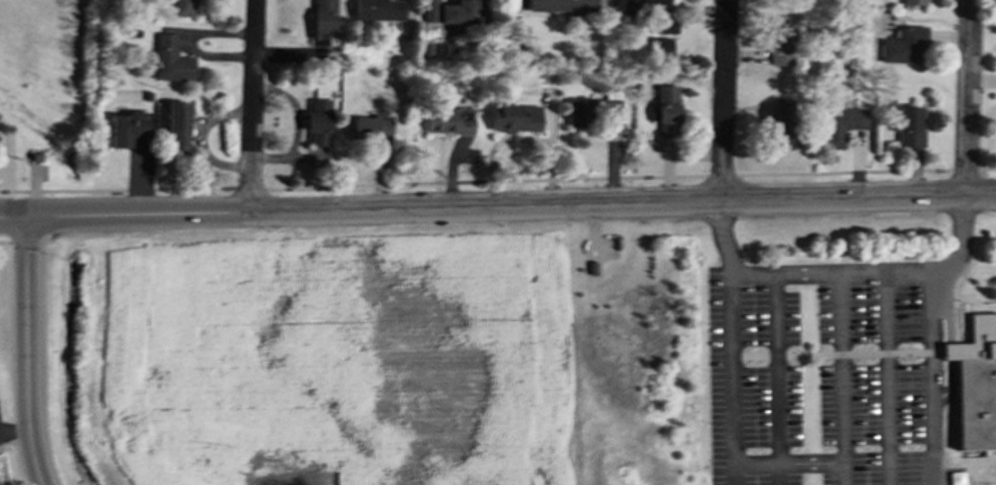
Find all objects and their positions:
building: (914, 2)
building: (561, 5)
building: (183, 7)
building: (378, 9)
building: (454, 11)
building: (652, 14)
building: (322, 20)
building: (783, 40)
road: (190, 43)
building: (904, 45)
building: (662, 47)
building: (171, 59)
road: (971, 98)
road: (722, 101)
park: (44, 103)
road: (253, 105)
building: (579, 112)
building: (664, 112)
building: (612, 115)
building: (515, 117)
building: (784, 118)
road: (550, 119)
building: (317, 121)
building: (449, 121)
building: (839, 123)
road: (297, 124)
building: (177, 125)
building: (910, 125)
building: (371, 127)
building: (127, 128)
road: (524, 138)
road: (304, 156)
road: (498, 206)
road: (24, 240)
road: (5, 241)
road: (845, 272)
road: (26, 350)
road: (41, 350)
crop: (331, 354)
road: (842, 368)
road: (777, 369)
road: (734, 375)
road: (888, 378)
road: (932, 378)
building: (976, 382)
road: (13, 427)
road: (812, 464)
building: (957, 478)

